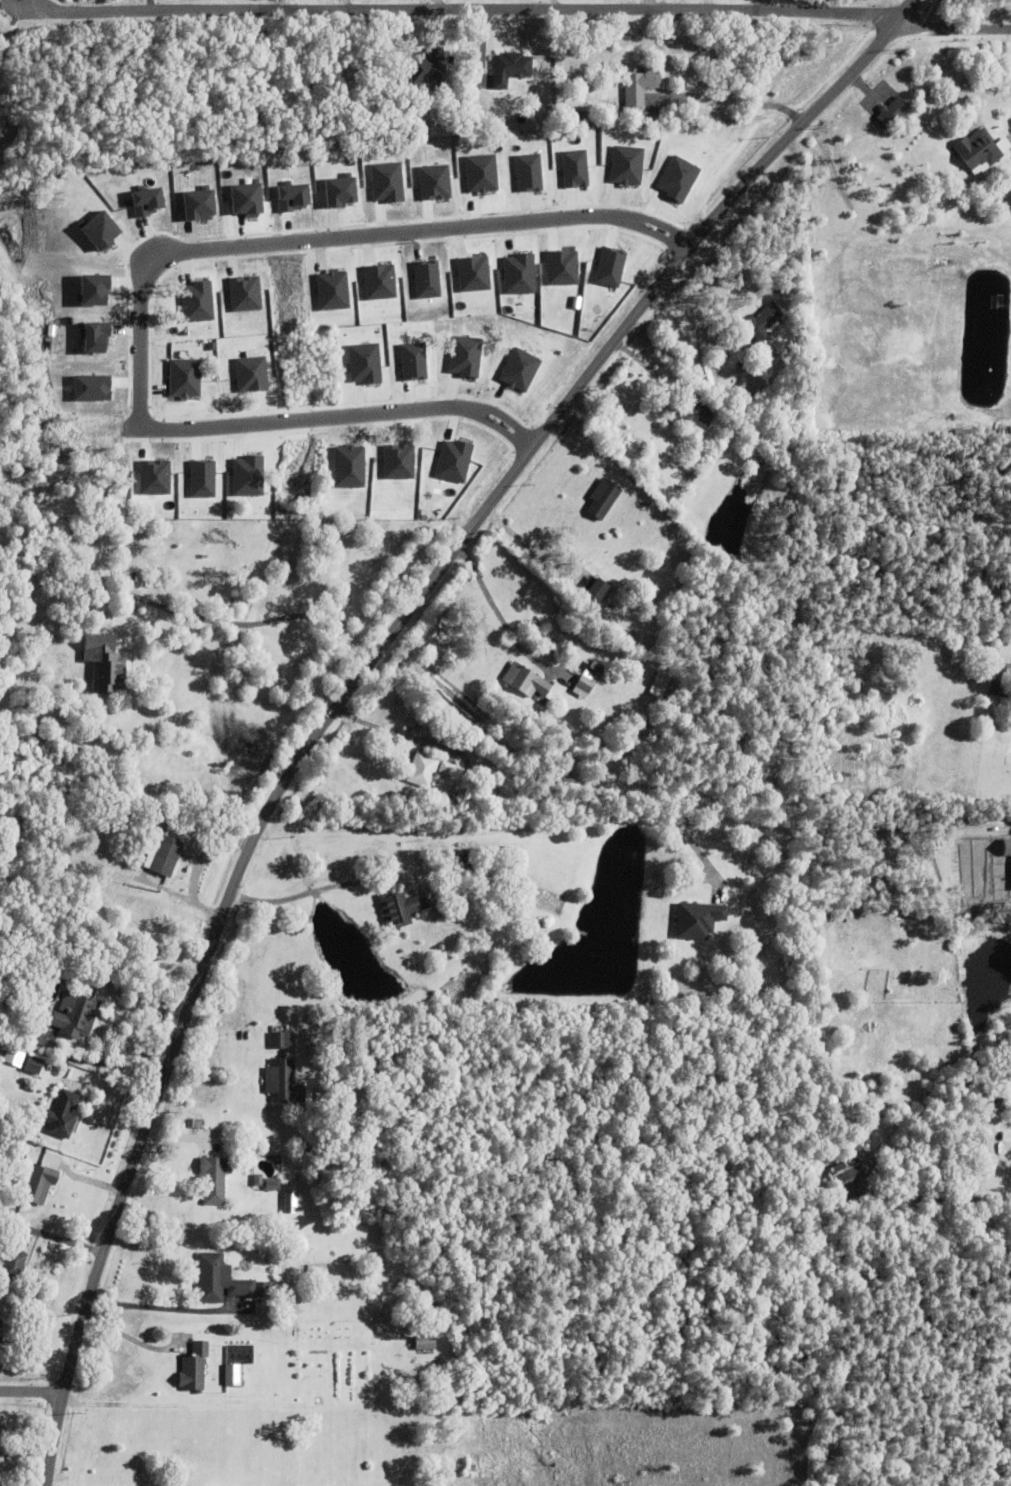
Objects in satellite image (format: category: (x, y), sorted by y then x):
road: (552, 3)
road: (647, 3)
road: (10, 6)
road: (459, 7)
road: (953, 28)
building: (509, 69)
building: (638, 87)
road: (734, 102)
building: (891, 113)
building: (571, 119)
building: (977, 151)
building: (249, 198)
building: (200, 204)
building: (102, 229)
road: (147, 281)
building: (246, 293)
building: (198, 301)
building: (762, 324)
building: (466, 355)
building: (251, 373)
building: (185, 377)
building: (749, 390)
building: (694, 415)
building: (248, 475)
building: (155, 476)
building: (203, 478)
building: (601, 501)
road: (531, 548)
building: (596, 594)
road: (493, 606)
road: (244, 625)
building: (962, 654)
building: (106, 665)
road: (359, 676)
building: (588, 682)
building: (525, 683)
building: (660, 683)
building: (999, 690)
building: (445, 770)
building: (422, 772)
building: (463, 797)
road: (496, 835)
building: (16, 840)
building: (165, 854)
building: (456, 858)
road: (197, 874)
road: (318, 886)
building: (438, 903)
building: (400, 906)
building: (697, 917)
building: (67, 1017)
building: (278, 1038)
building: (13, 1056)
building: (32, 1063)
road: (107, 1064)
building: (283, 1080)
building: (61, 1113)
building: (194, 1121)
building: (852, 1164)
building: (214, 1177)
building: (37, 1183)
building: (270, 1183)
road: (929, 1196)
building: (290, 1202)
road: (59, 1238)
building: (304, 1250)
building: (12, 1256)
building: (222, 1279)
road: (162, 1304)
building: (389, 1312)
building: (1, 1330)
building: (425, 1341)
building: (195, 1367)
road: (32, 1391)
building: (319, 1400)

